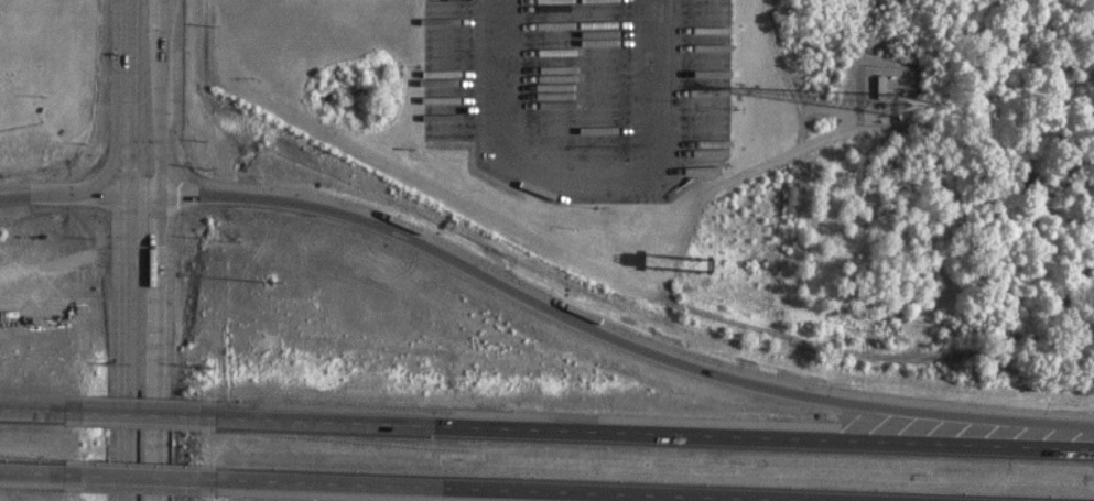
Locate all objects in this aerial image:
road: (661, 70)
road: (500, 73)
road: (155, 97)
road: (586, 162)
road: (79, 195)
traffic signals: (161, 195)
traffic signals: (126, 196)
road: (124, 250)
road: (618, 335)
road: (156, 348)
road: (33, 407)
road: (143, 412)
road: (657, 431)
road: (32, 473)
road: (142, 478)
road: (526, 490)

